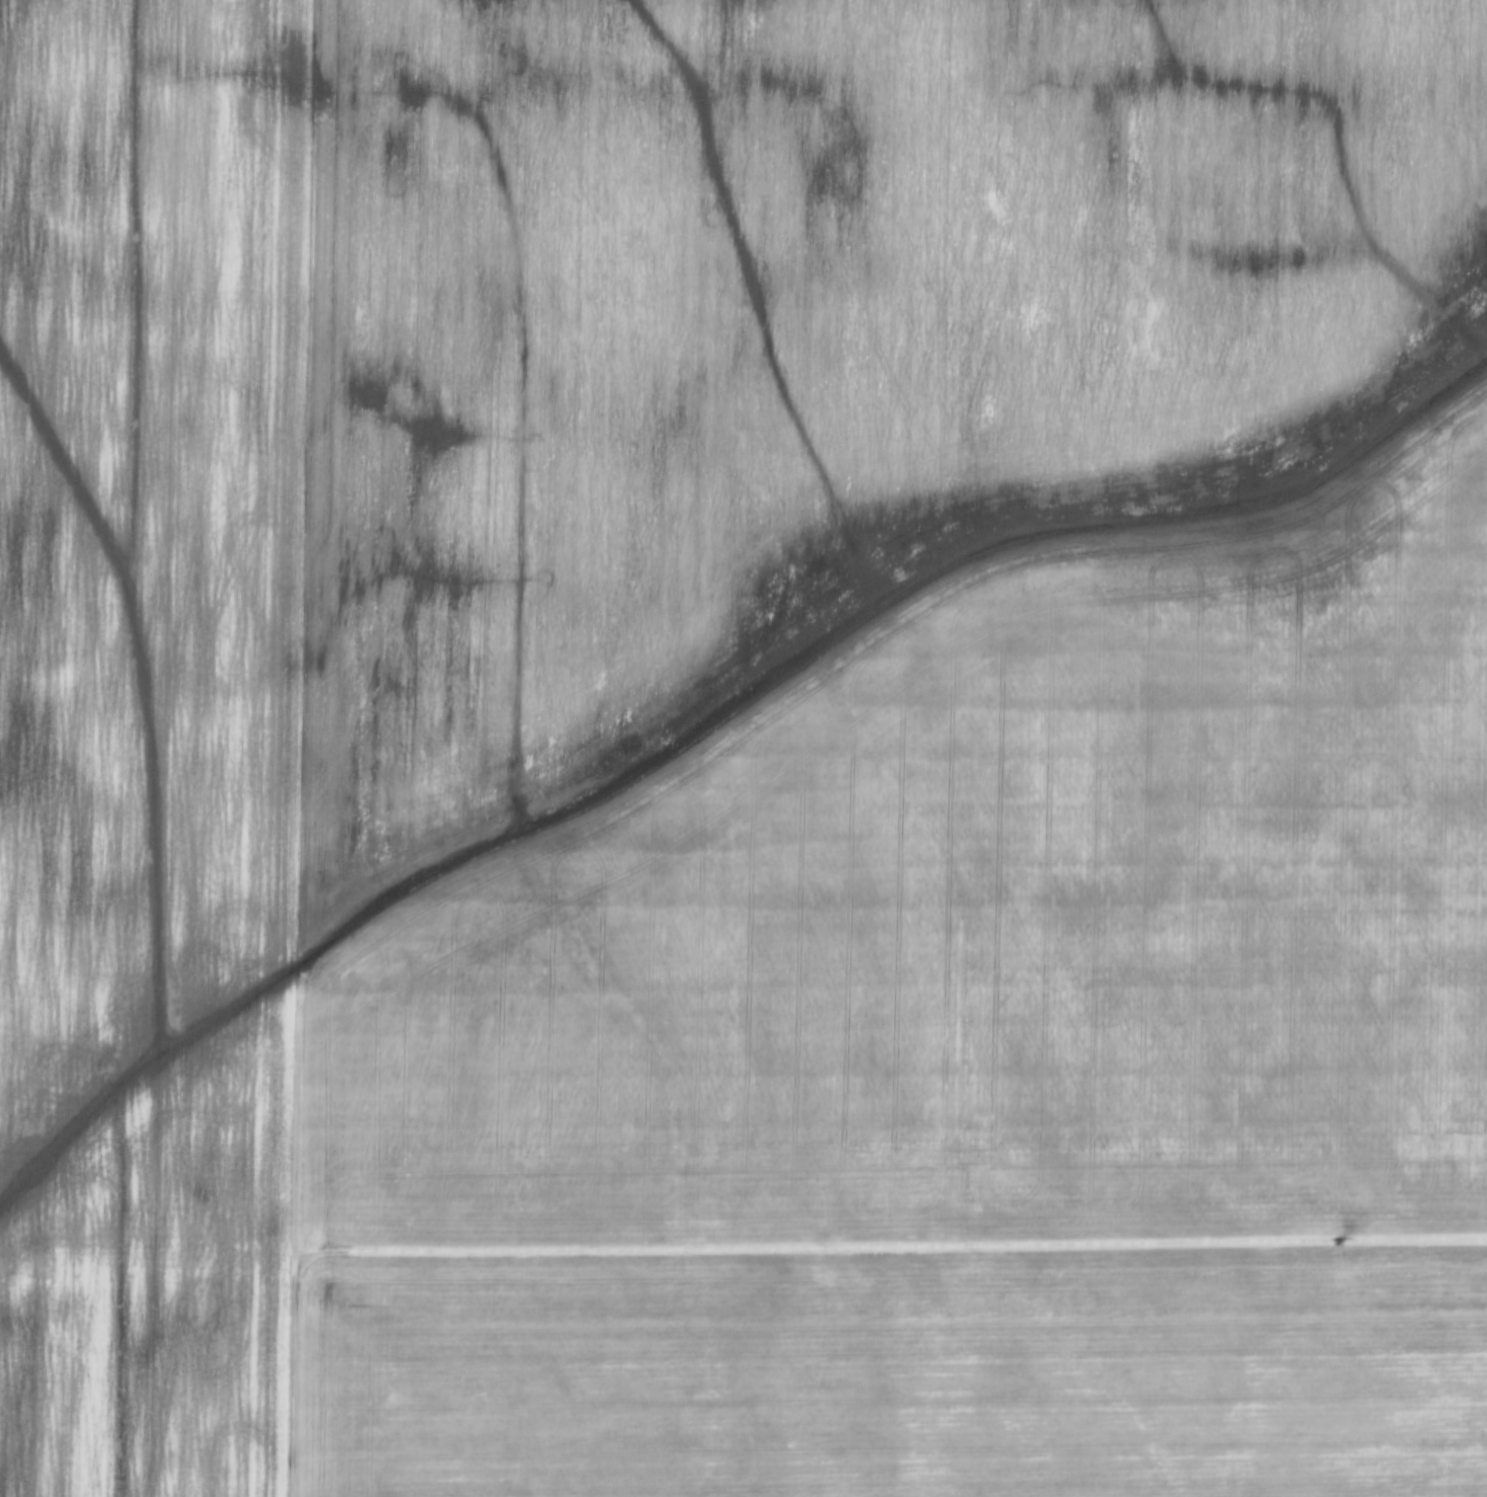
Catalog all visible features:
crop: (896, 623)
crop: (153, 740)
crop: (905, 1375)

